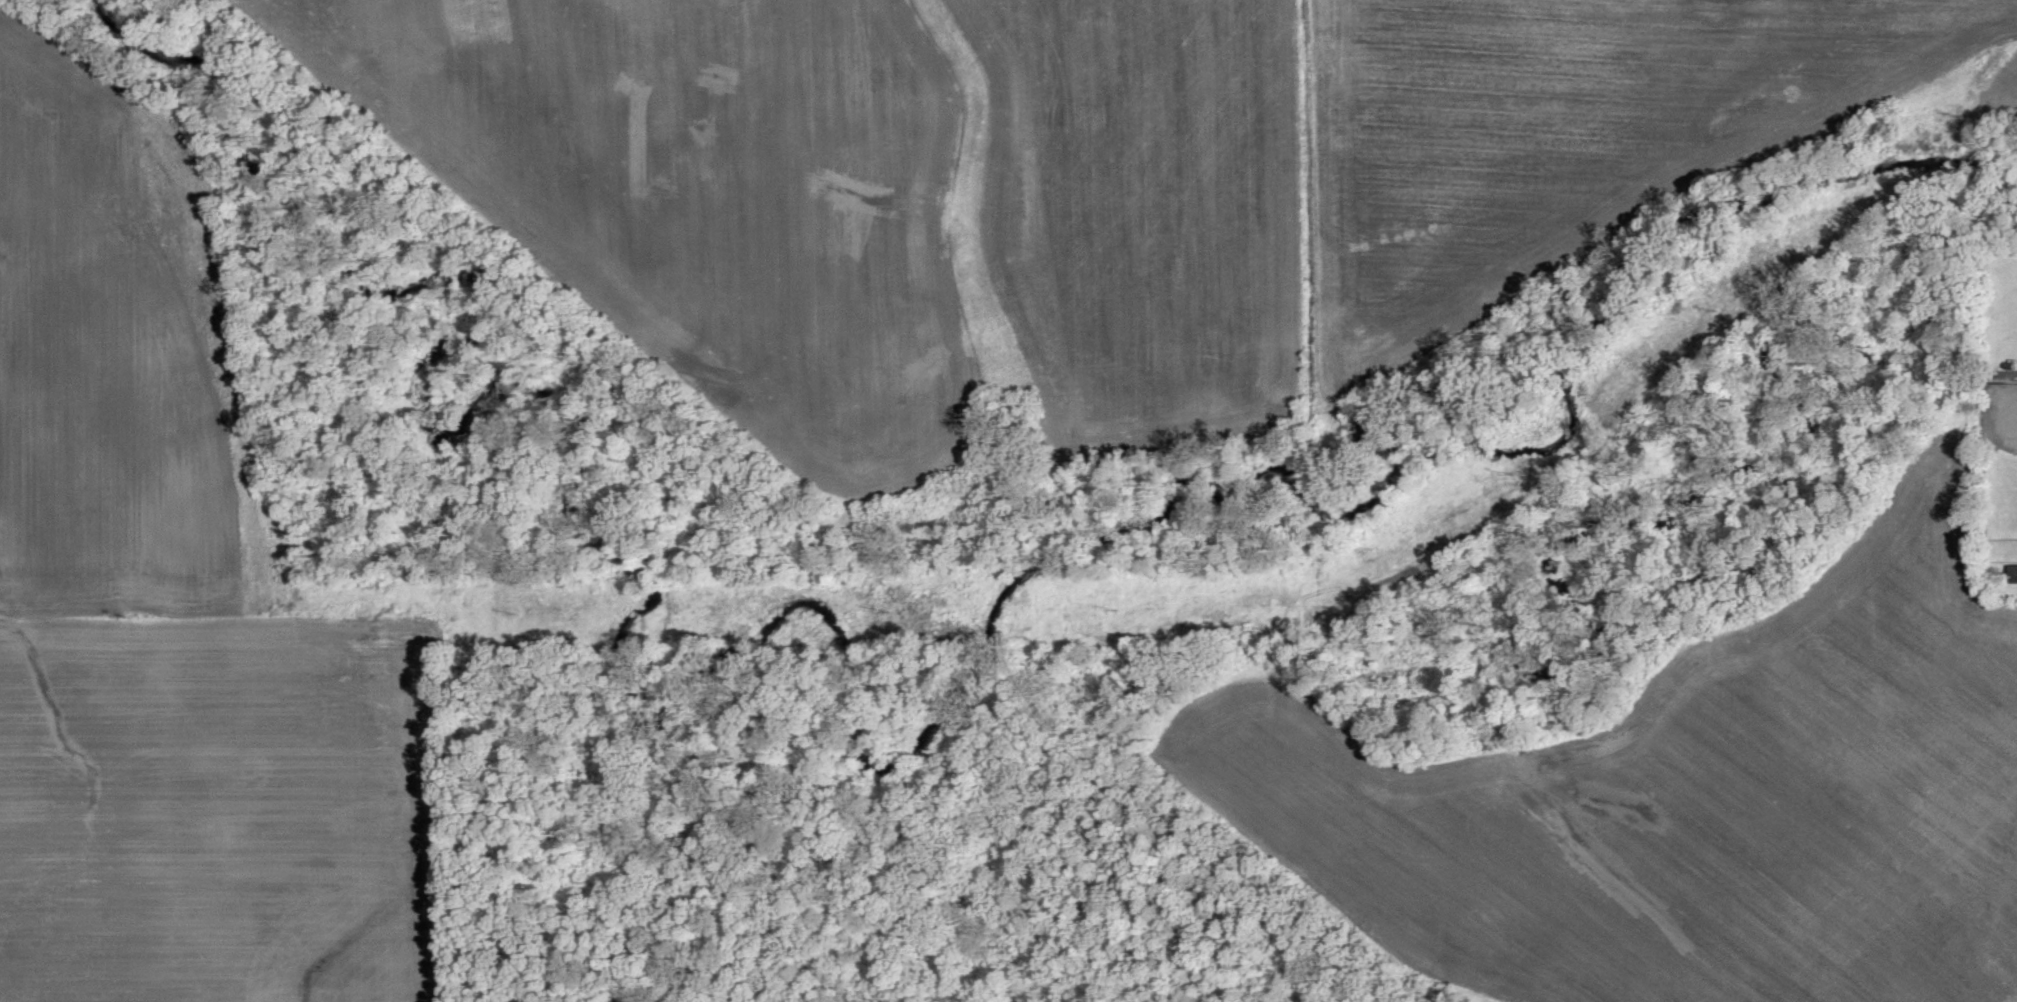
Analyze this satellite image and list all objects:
building: (2014, 575)

